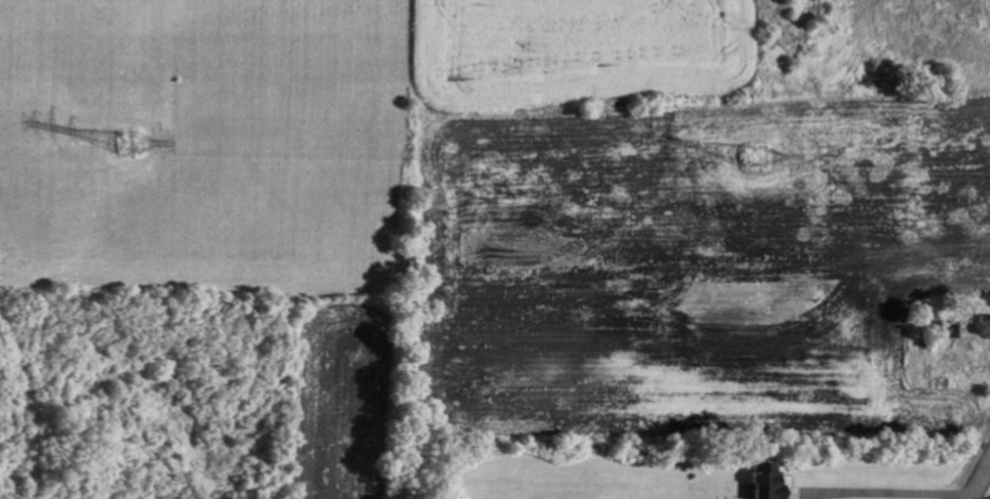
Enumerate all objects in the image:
power tower: (109, 139)
power tower: (742, 152)
building: (982, 324)
road: (978, 477)
building: (762, 483)
road: (872, 497)

